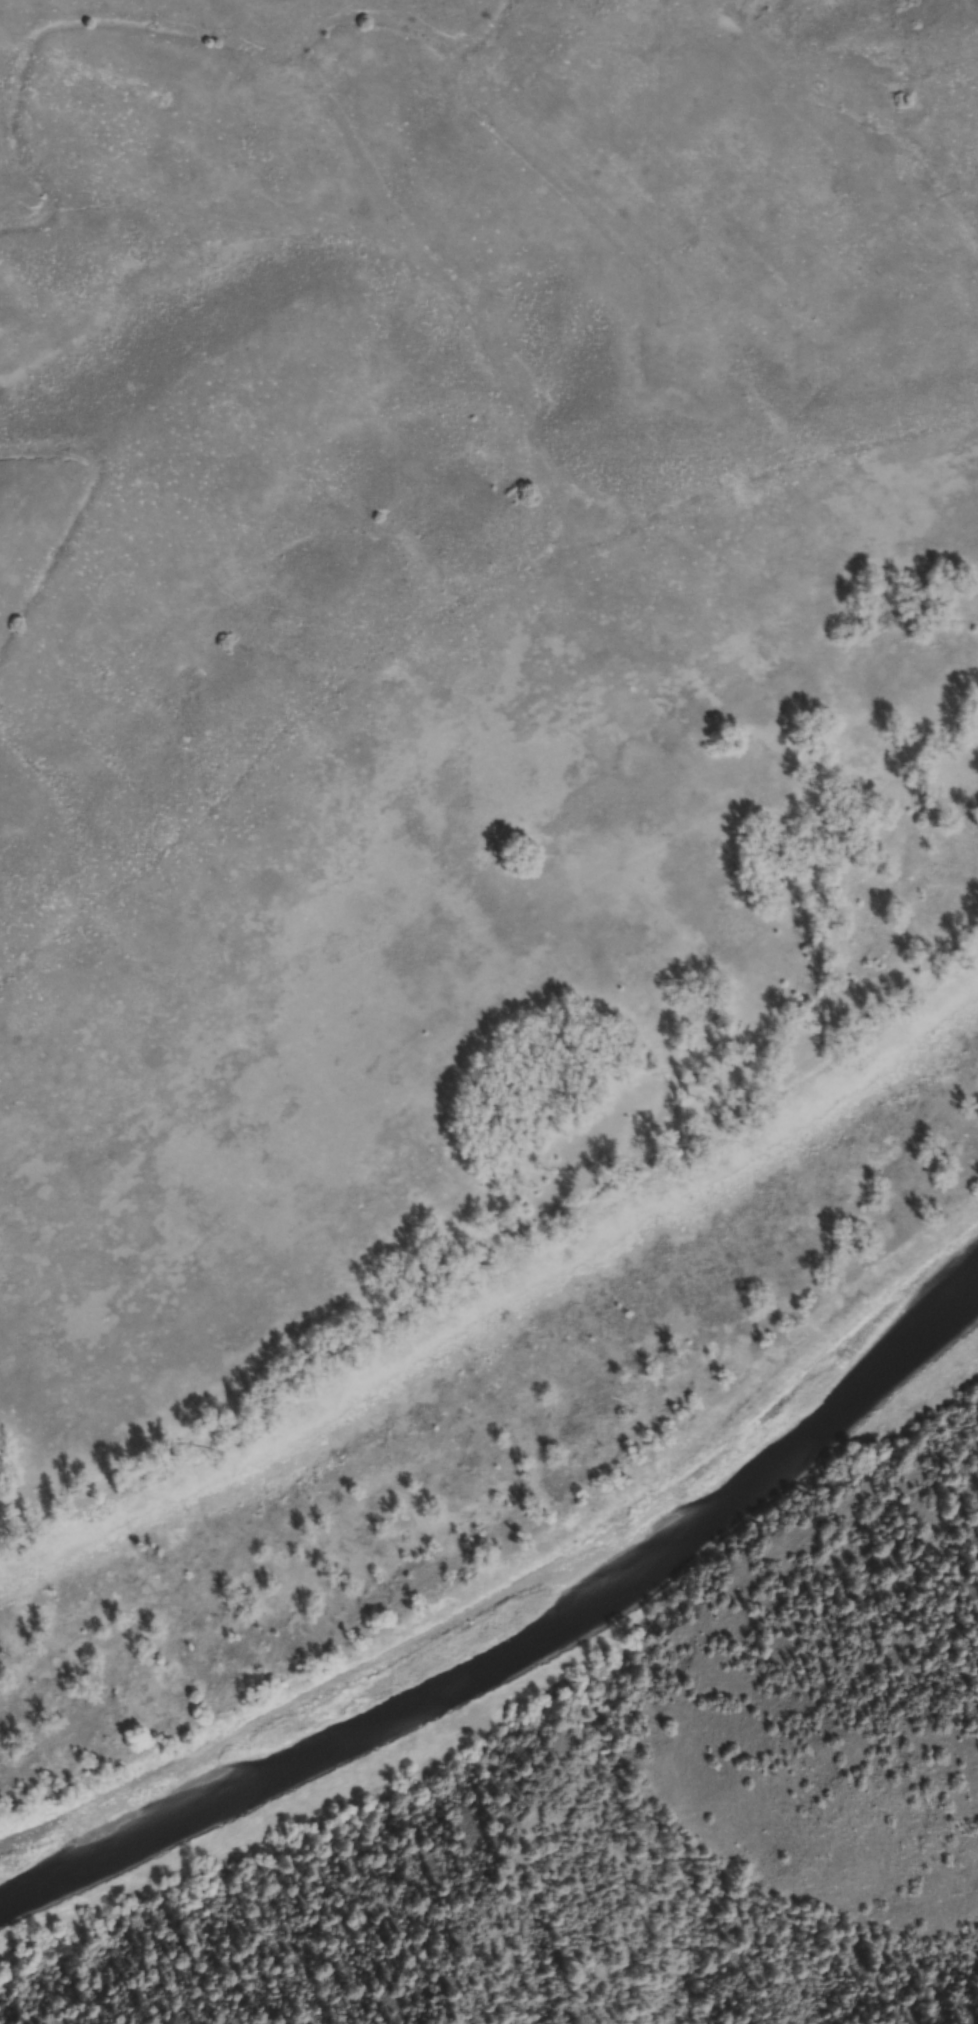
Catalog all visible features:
park: (964, 57)
park: (426, 944)
river: (522, 1655)

